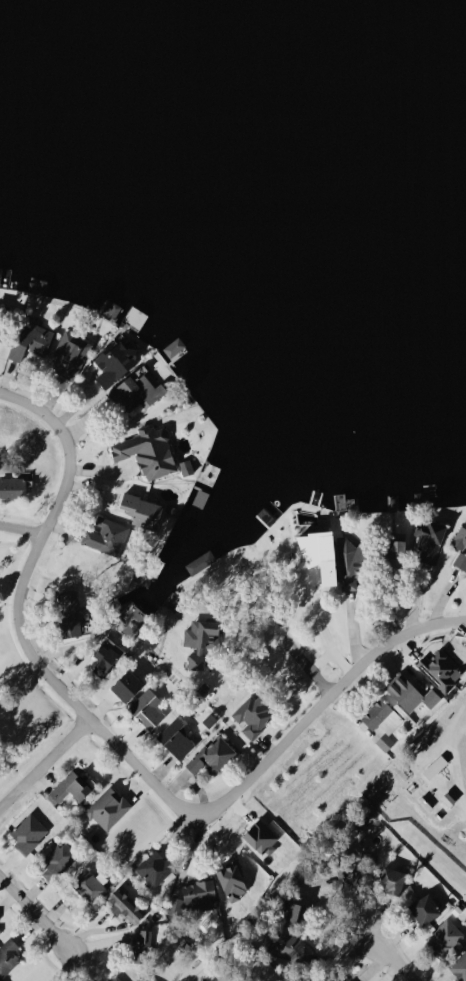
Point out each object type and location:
building: (0, 274)
building: (111, 311)
building: (1, 318)
building: (31, 341)
building: (174, 347)
building: (69, 355)
building: (115, 362)
building: (138, 391)
building: (148, 452)
building: (186, 468)
building: (14, 487)
building: (143, 510)
road: (19, 530)
building: (106, 536)
building: (429, 540)
building: (460, 545)
building: (320, 551)
building: (396, 552)
building: (351, 562)
building: (72, 612)
building: (132, 621)
building: (200, 639)
building: (106, 655)
road: (311, 668)
building: (438, 670)
building: (127, 684)
building: (410, 693)
building: (147, 708)
park: (22, 713)
building: (253, 714)
building: (382, 721)
road: (456, 723)
building: (176, 737)
road: (119, 752)
building: (212, 755)
road: (43, 763)
building: (69, 787)
building: (108, 808)
building: (28, 832)
building: (59, 859)
building: (155, 867)
building: (392, 879)
building: (89, 884)
building: (200, 894)
building: (125, 905)
building: (174, 905)
building: (426, 908)
road: (36, 909)
building: (444, 936)
building: (140, 946)
building: (8, 957)
road: (400, 960)
building: (459, 967)
building: (115, 978)
building: (139, 979)
building: (350, 980)

